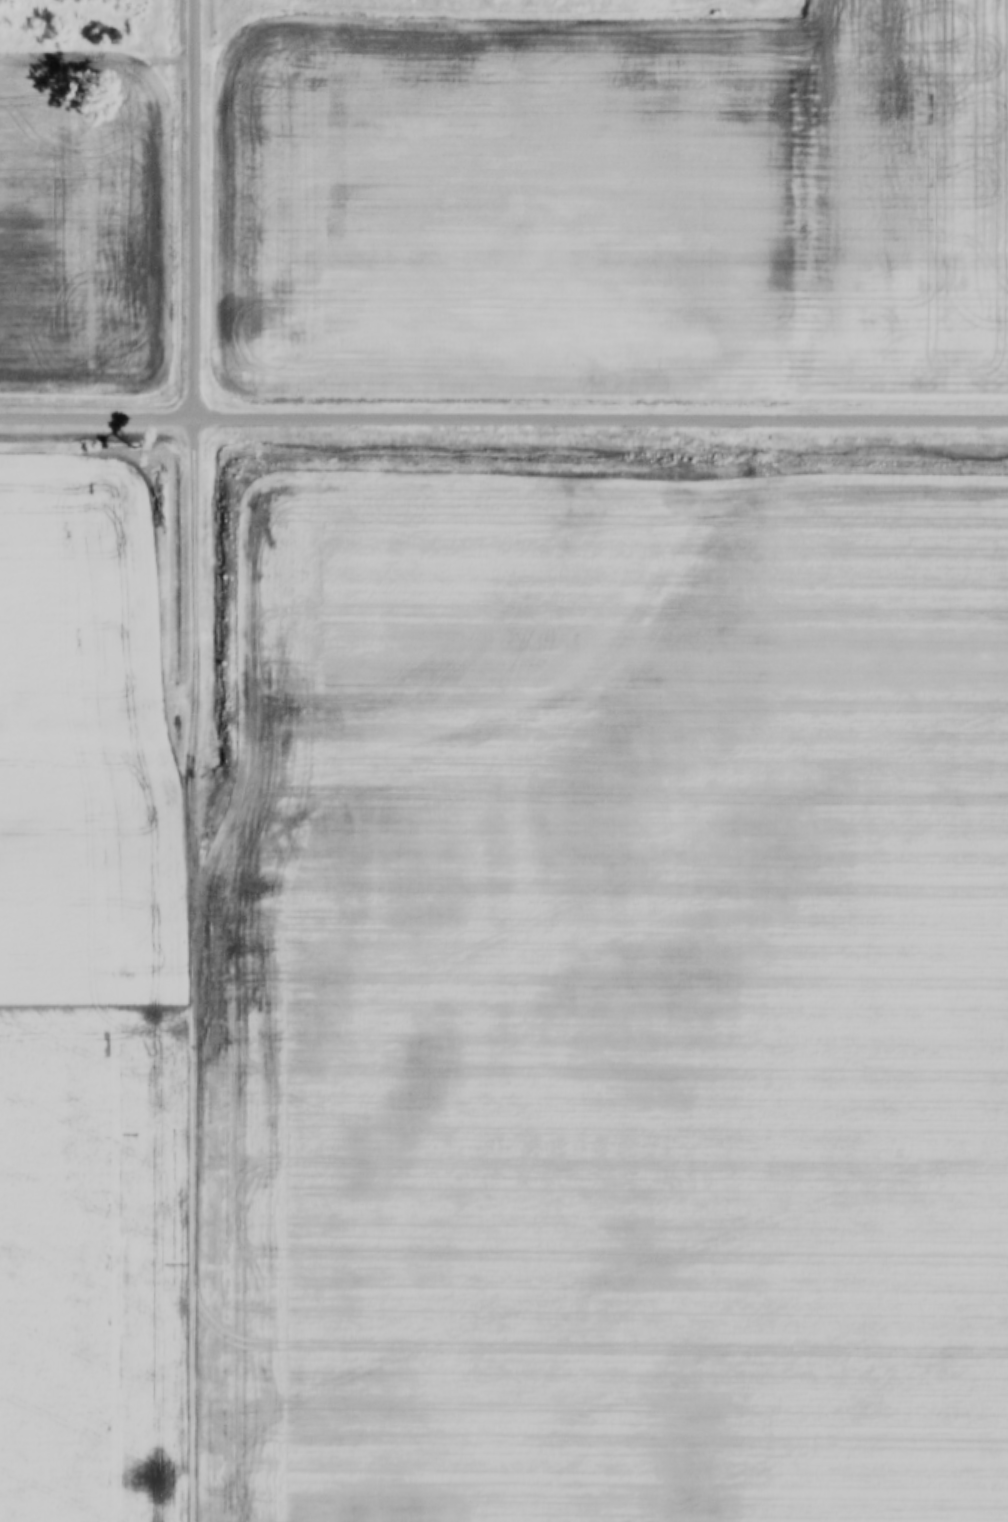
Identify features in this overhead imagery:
road: (195, 209)
road: (503, 419)
road: (199, 970)

